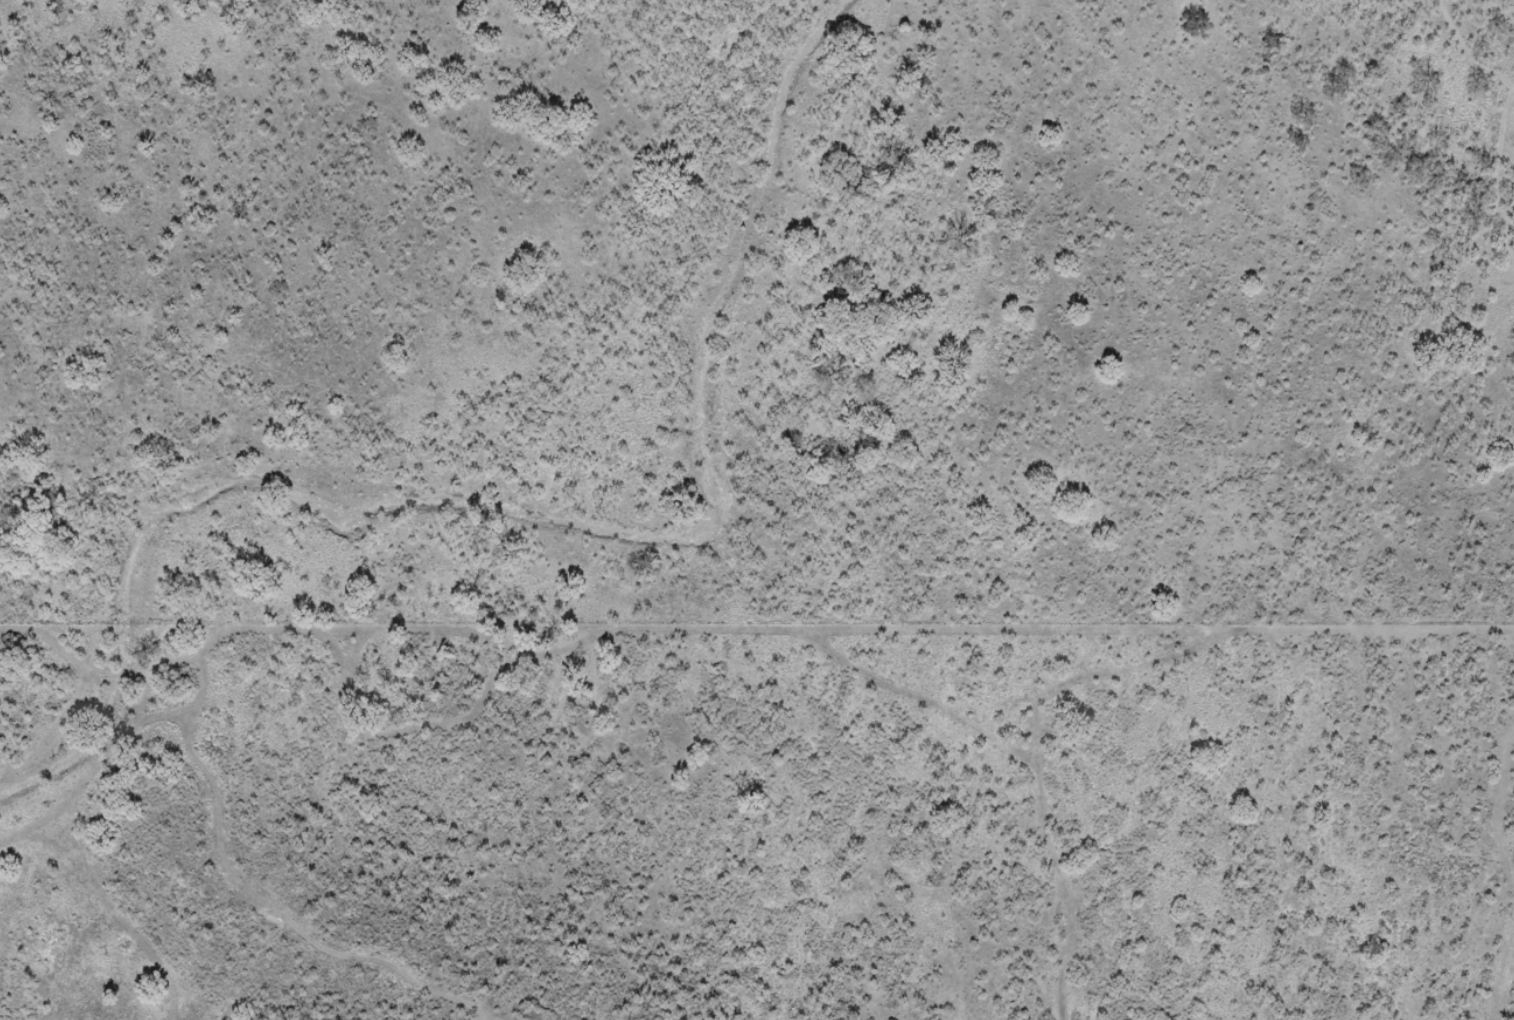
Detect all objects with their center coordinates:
road: (1144, 675)

